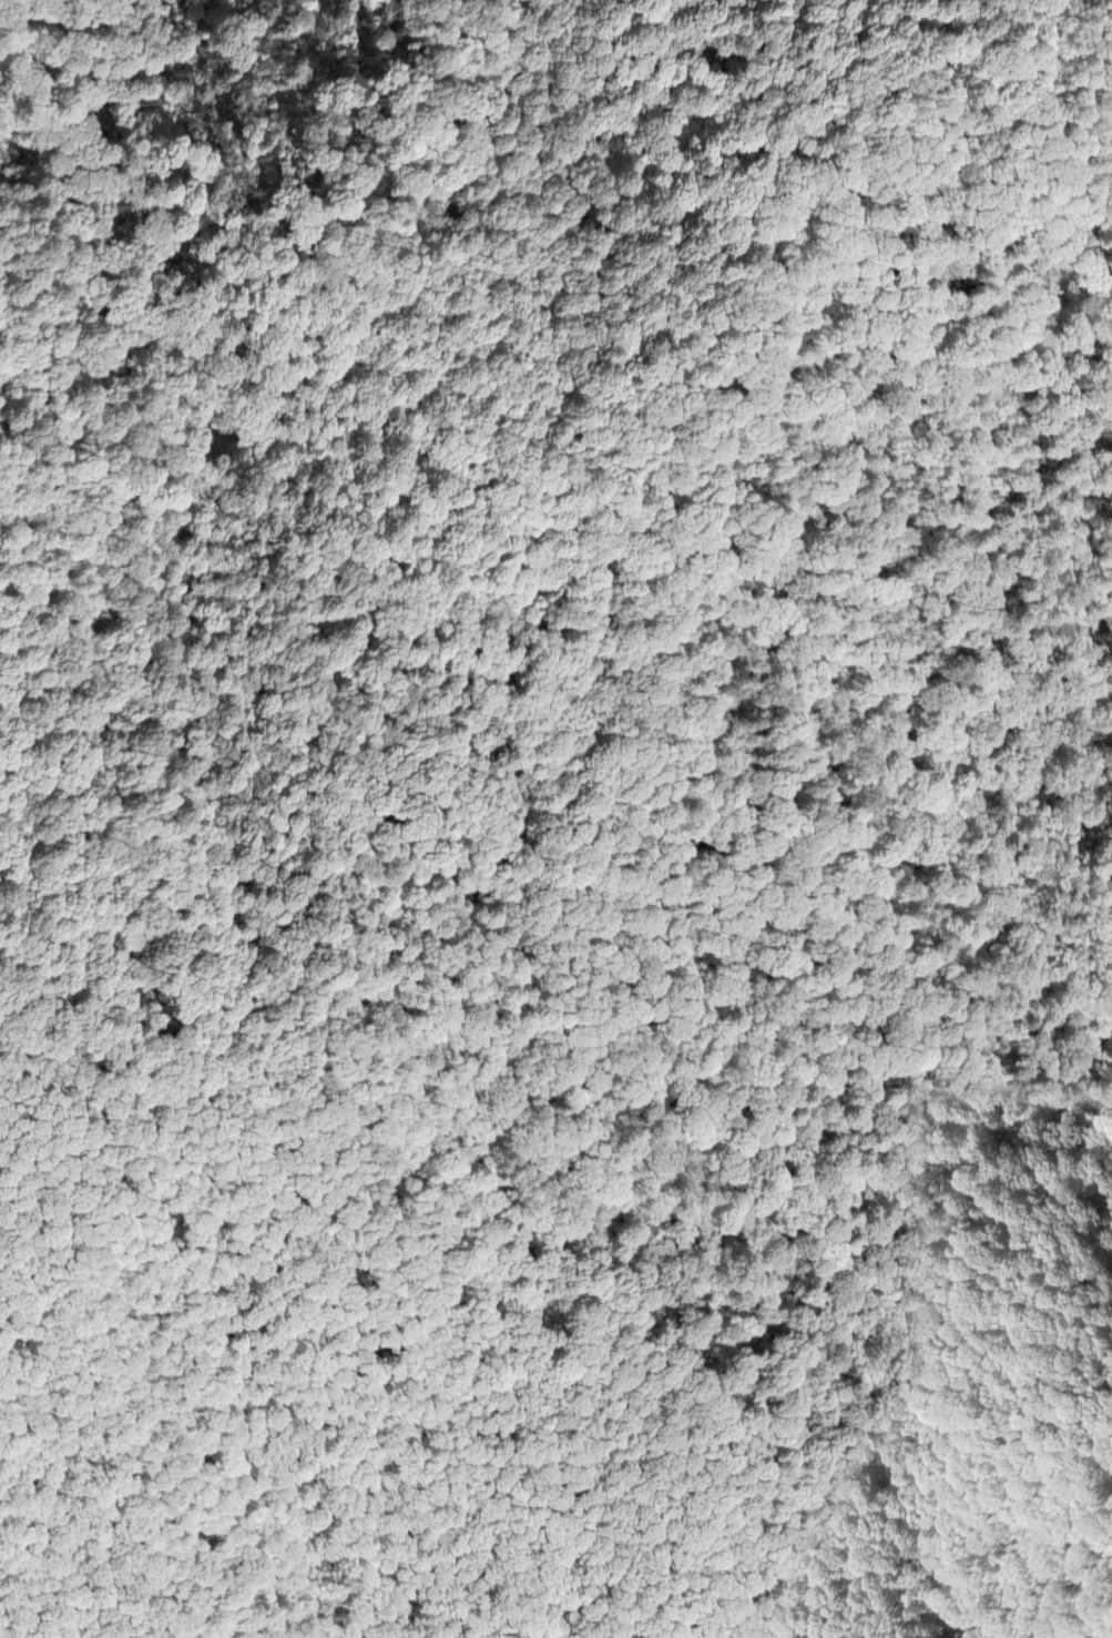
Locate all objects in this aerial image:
road: (599, 615)

